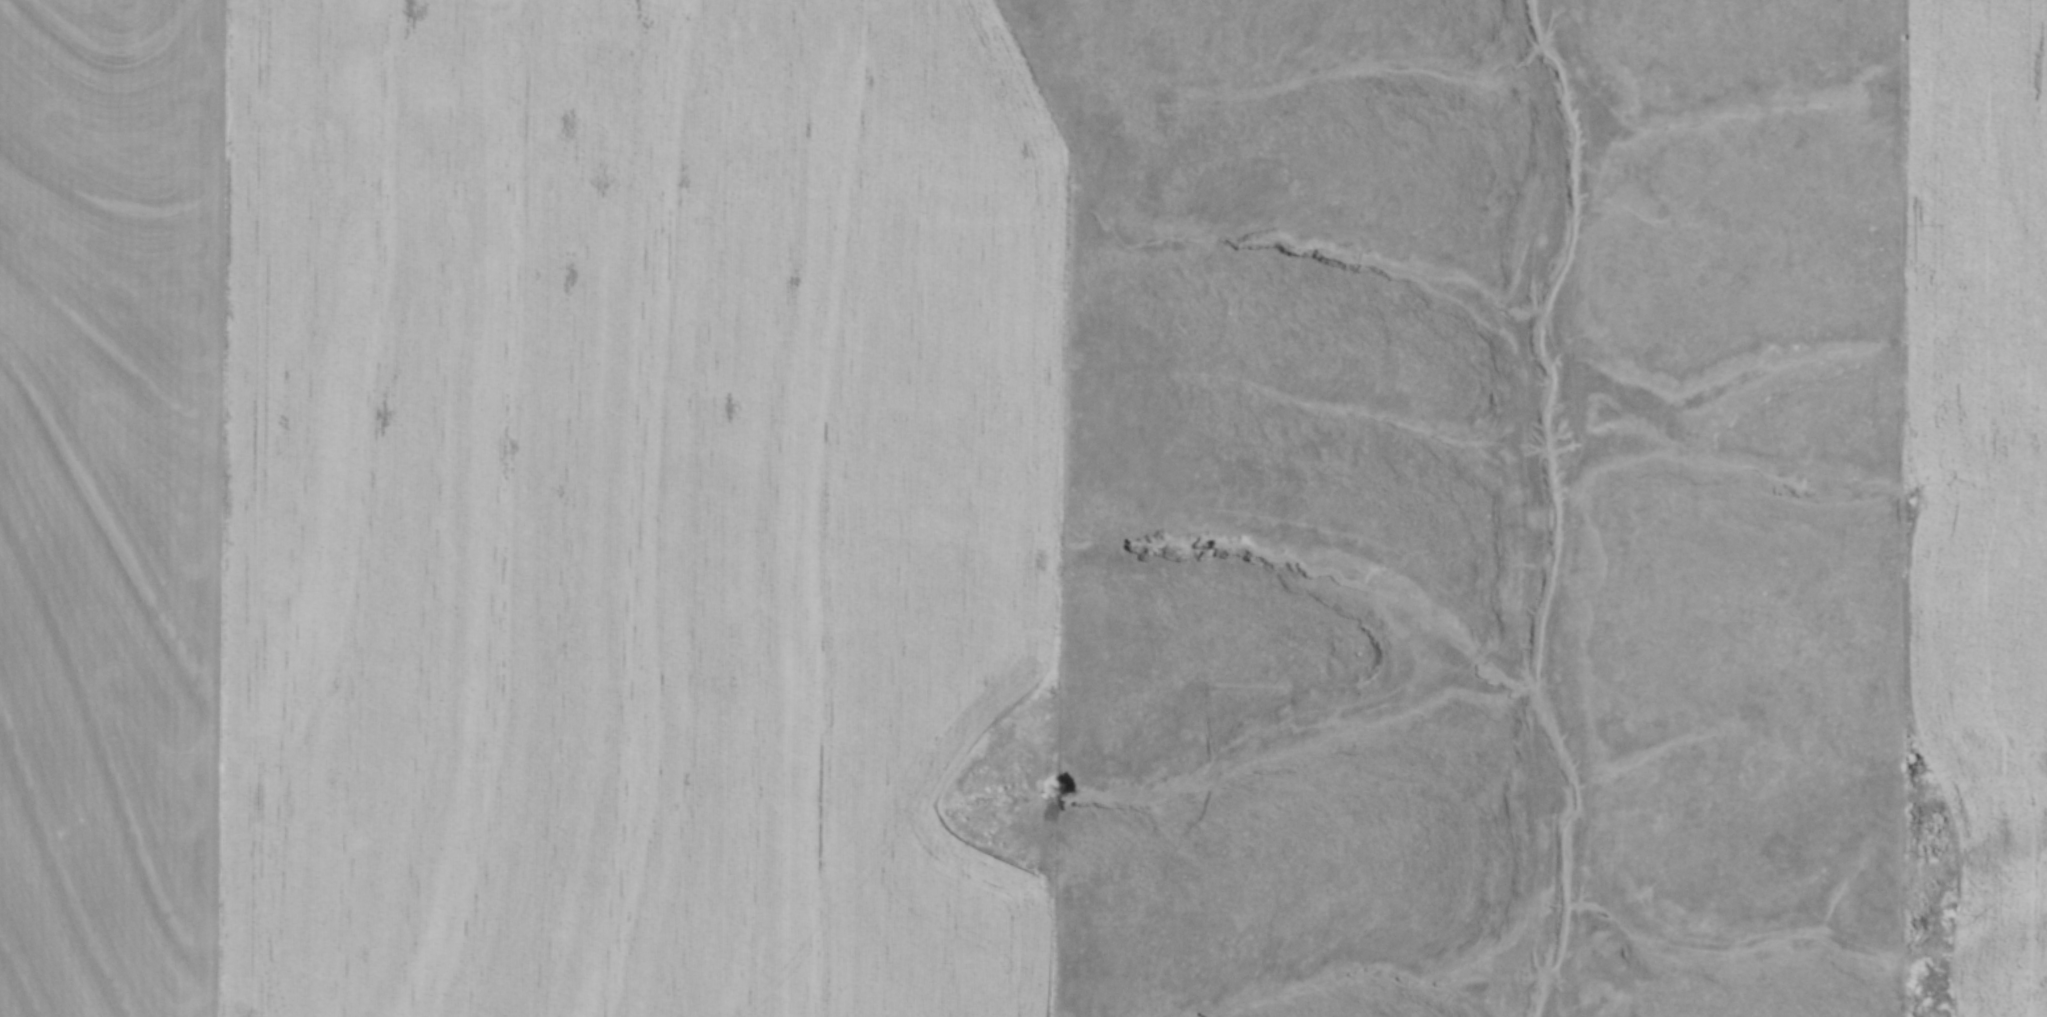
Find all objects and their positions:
crop: (1985, 473)

